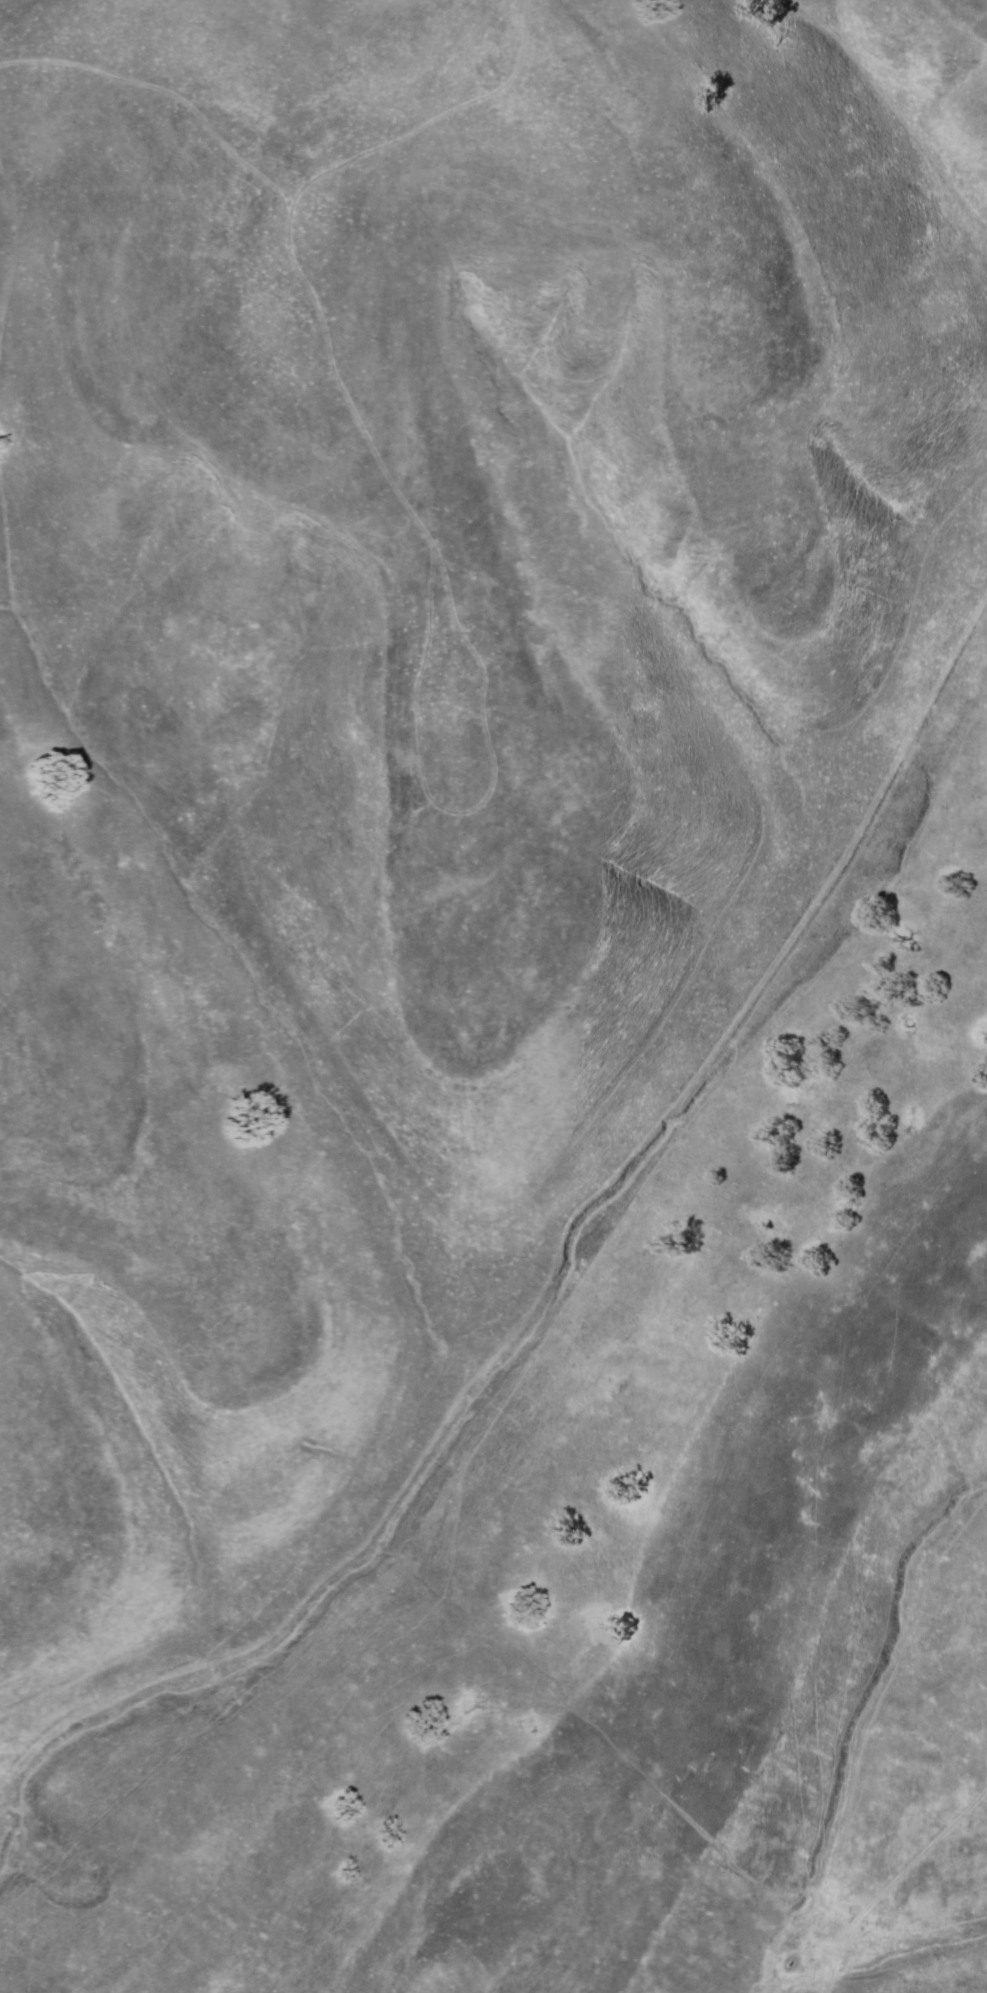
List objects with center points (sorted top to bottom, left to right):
road: (371, 1531)

